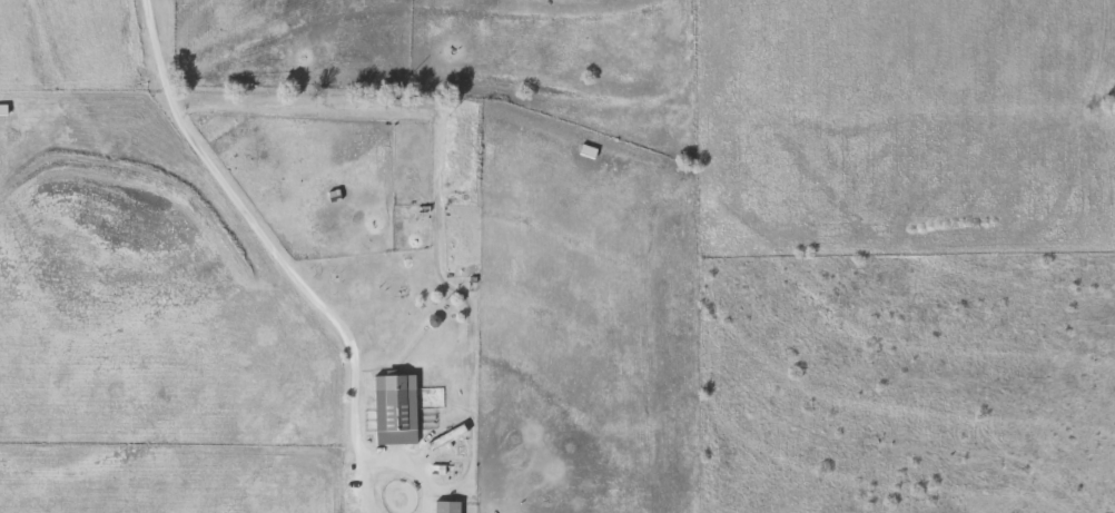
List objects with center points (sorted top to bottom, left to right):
building: (586, 149)
road: (285, 267)
building: (395, 414)
building: (446, 505)

